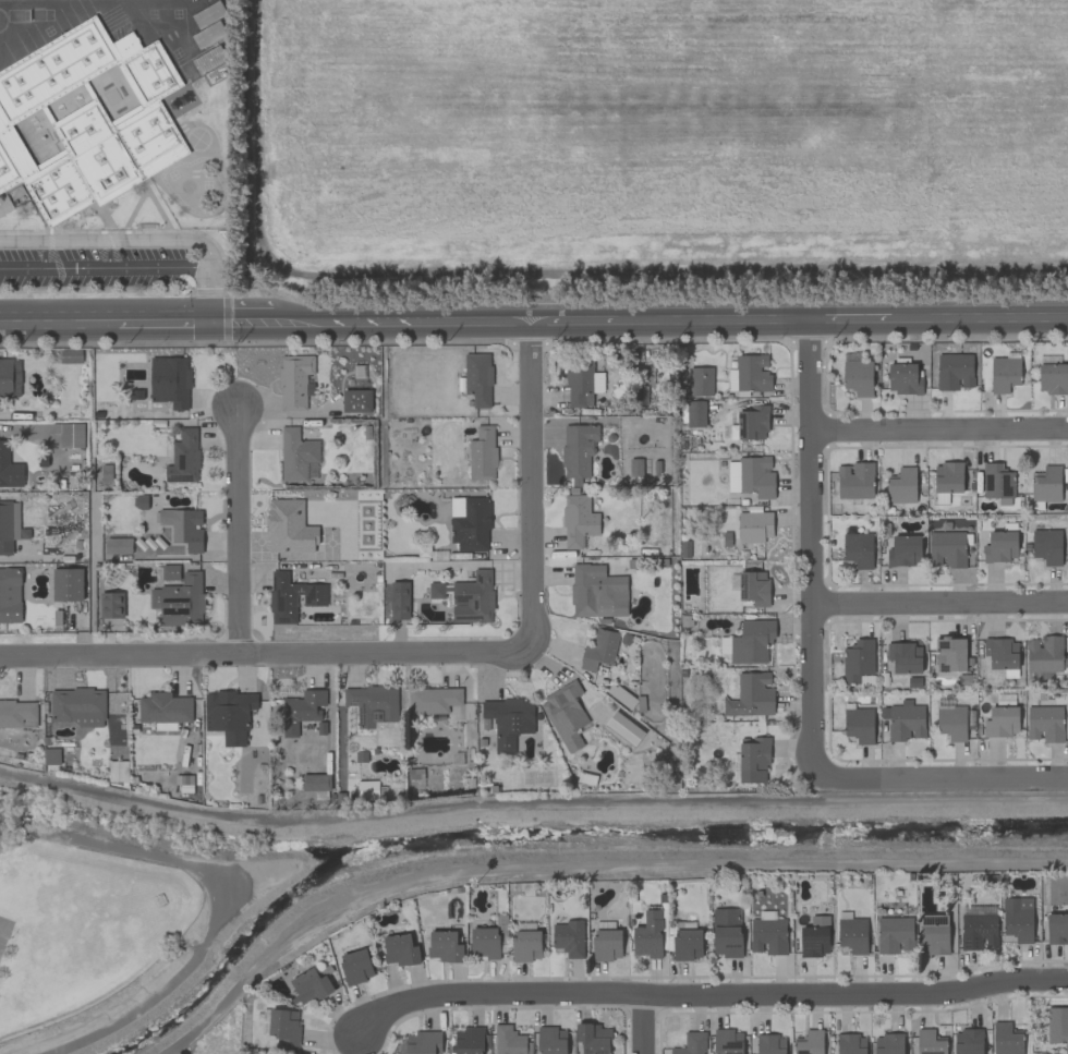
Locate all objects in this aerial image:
building: (208, 14)
building: (208, 59)
building: (86, 119)
road: (112, 241)
road: (104, 266)
road: (96, 293)
road: (208, 295)
road: (226, 300)
road: (58, 323)
road: (162, 325)
road: (639, 327)
road: (262, 340)
building: (70, 355)
building: (954, 371)
building: (750, 374)
building: (1004, 374)
building: (10, 377)
building: (858, 377)
building: (903, 377)
building: (477, 378)
building: (1052, 378)
building: (170, 380)
building: (293, 380)
building: (700, 380)
building: (582, 383)
building: (356, 401)
building: (694, 413)
building: (752, 423)
road: (940, 428)
building: (69, 434)
building: (578, 452)
building: (482, 453)
building: (296, 455)
building: (183, 457)
building: (635, 467)
building: (9, 468)
building: (105, 473)
building: (751, 476)
building: (947, 477)
building: (854, 481)
building: (997, 481)
building: (1046, 484)
building: (901, 486)
road: (527, 488)
building: (578, 520)
building: (470, 523)
building: (10, 525)
building: (183, 526)
building: (753, 526)
building: (289, 528)
road: (235, 530)
building: (118, 545)
building: (1047, 545)
building: (1000, 546)
building: (347, 547)
building: (947, 548)
building: (858, 549)
building: (903, 550)
road: (813, 555)
building: (170, 572)
building: (66, 584)
building: (753, 587)
building: (436, 590)
building: (597, 592)
building: (10, 595)
building: (292, 596)
building: (181, 597)
building: (473, 598)
building: (399, 599)
building: (111, 604)
road: (940, 604)
building: (752, 641)
building: (724, 647)
building: (599, 650)
road: (384, 651)
building: (1002, 653)
building: (950, 654)
building: (1044, 654)
road: (118, 655)
building: (905, 657)
building: (858, 661)
building: (751, 695)
building: (433, 700)
building: (372, 703)
building: (76, 706)
building: (163, 707)
building: (302, 710)
building: (17, 714)
building: (229, 714)
building: (565, 715)
building: (508, 720)
building: (903, 720)
building: (1002, 722)
building: (951, 723)
building: (1044, 723)
building: (859, 725)
building: (113, 730)
building: (753, 760)
road: (939, 780)
building: (315, 782)
road: (531, 801)
building: (1018, 918)
building: (1057, 928)
building: (979, 931)
building: (726, 932)
building: (767, 933)
building: (852, 934)
building: (894, 934)
building: (933, 934)
building: (647, 935)
building: (814, 936)
building: (569, 937)
building: (484, 943)
building: (606, 944)
building: (687, 944)
building: (525, 945)
building: (444, 946)
building: (400, 949)
building: (355, 966)
building: (310, 985)
road: (707, 996)
road: (643, 1025)
building: (1057, 1025)
building: (283, 1027)
building: (593, 1038)
building: (1006, 1039)
building: (469, 1040)
building: (508, 1040)
building: (551, 1040)
building: (728, 1041)
building: (968, 1041)
building: (810, 1042)
building: (930, 1042)
building: (423, 1043)
building: (691, 1043)
building: (850, 1043)
building: (888, 1043)
building: (770, 1044)

